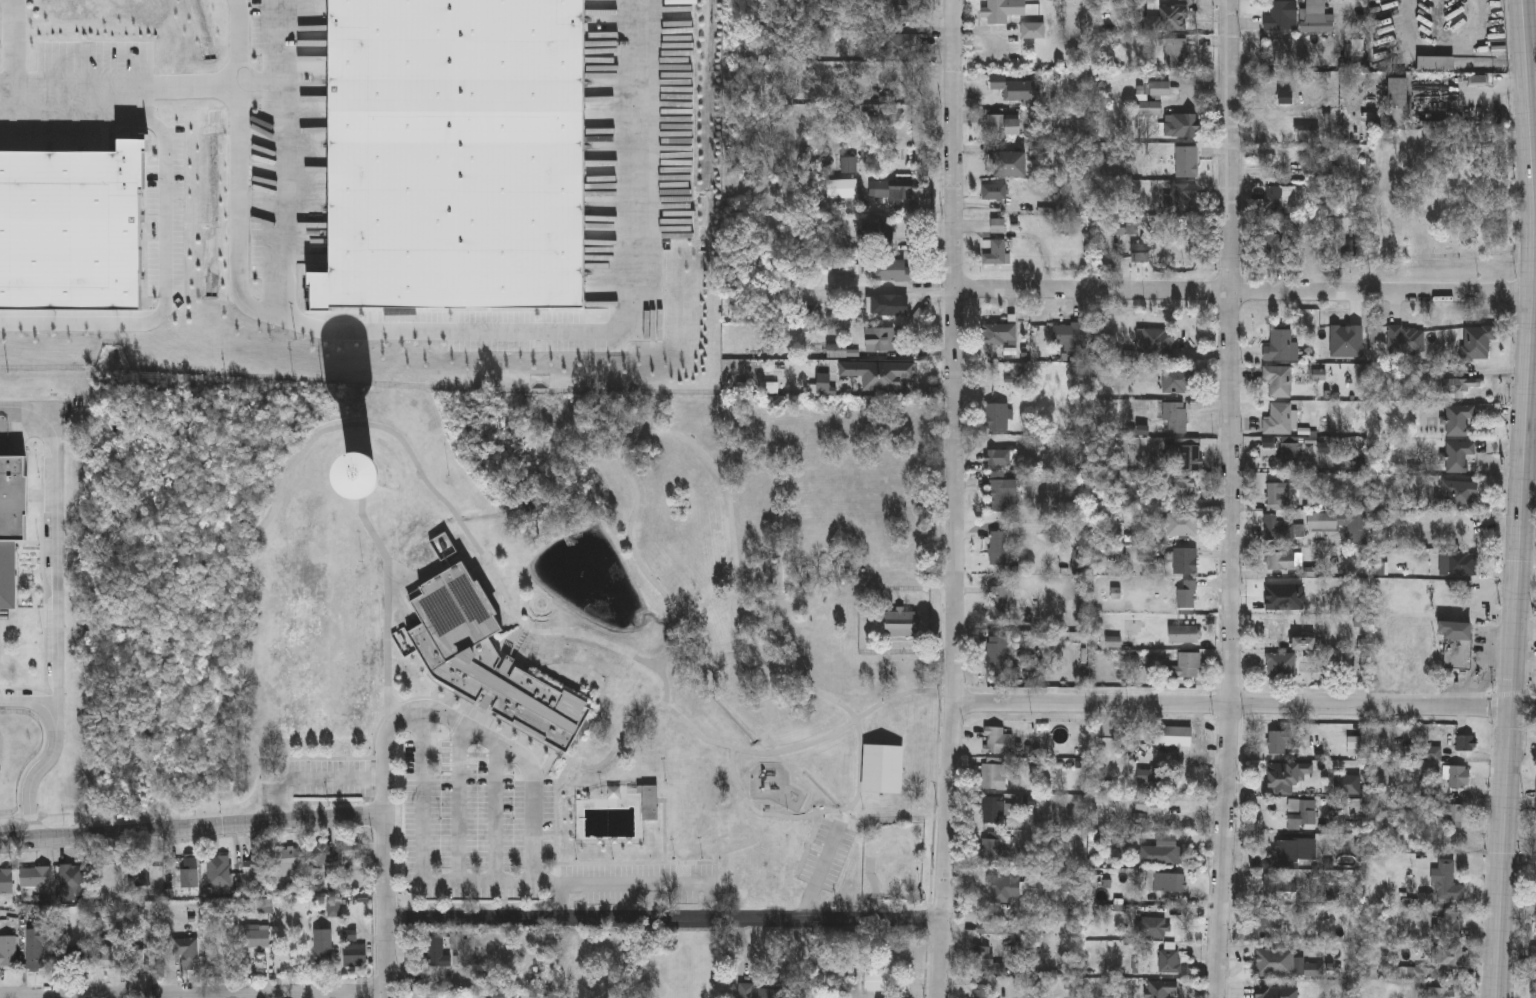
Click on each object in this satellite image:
building: (892, 10)
building: (1002, 11)
building: (1284, 16)
building: (1167, 18)
building: (1032, 31)
road: (278, 41)
road: (12, 46)
building: (900, 47)
building: (1276, 50)
building: (1175, 53)
building: (1439, 58)
road: (225, 85)
building: (1001, 90)
road: (1475, 95)
building: (1285, 97)
building: (1140, 99)
building: (1394, 103)
building: (1179, 126)
building: (1004, 127)
building: (1186, 162)
building: (1010, 164)
building: (1335, 164)
building: (993, 192)
building: (893, 194)
building: (1181, 200)
building: (1272, 200)
road: (165, 214)
building: (998, 226)
building: (1122, 227)
building: (1273, 250)
building: (1143, 251)
building: (1347, 251)
building: (996, 253)
building: (891, 271)
road: (1244, 292)
road: (276, 305)
building: (886, 306)
road: (614, 329)
building: (998, 335)
building: (1068, 335)
building: (877, 337)
building: (1155, 342)
building: (1279, 346)
building: (887, 376)
building: (1178, 381)
building: (1278, 381)
road: (1532, 382)
building: (1458, 385)
building: (997, 417)
building: (1177, 418)
building: (1277, 419)
building: (1457, 419)
building: (1292, 452)
building: (1457, 456)
building: (1000, 458)
building: (1187, 459)
water tower: (372, 476)
building: (377, 478)
building: (1182, 488)
building: (999, 491)
building: (1459, 494)
building: (1277, 496)
road: (954, 499)
road: (1230, 499)
road: (1521, 499)
building: (1181, 524)
building: (12, 525)
building: (1339, 525)
building: (1281, 528)
building: (998, 548)
building: (1183, 561)
building: (1283, 561)
building: (1461, 563)
road: (52, 574)
building: (1185, 595)
building: (998, 604)
building: (900, 624)
park: (531, 632)
building: (1183, 634)
building: (1303, 643)
building: (1456, 645)
building: (996, 652)
building: (490, 664)
building: (1187, 665)
building: (1280, 665)
road: (1245, 703)
building: (1172, 734)
building: (996, 739)
building: (1277, 740)
building: (1462, 740)
building: (882, 768)
building: (992, 773)
building: (1286, 773)
building: (1458, 775)
road: (38, 776)
building: (1151, 777)
road: (309, 778)
building: (1346, 783)
road: (532, 805)
building: (649, 805)
building: (1148, 805)
road: (460, 806)
building: (993, 809)
building: (1302, 809)
building: (1449, 813)
road: (494, 814)
road: (191, 828)
building: (995, 844)
building: (1158, 849)
building: (1292, 850)
building: (351, 851)
road: (421, 853)
building: (322, 854)
building: (289, 859)
building: (256, 864)
building: (219, 871)
building: (186, 876)
building: (36, 878)
building: (71, 878)
building: (1445, 880)
building: (6, 881)
building: (1164, 881)
building: (1003, 884)
building: (1278, 886)
road: (560, 901)
road: (384, 906)
building: (1266, 916)
road: (664, 919)
building: (1448, 924)
building: (1151, 926)
building: (989, 927)
building: (255, 937)
building: (457, 941)
building: (35, 947)
building: (323, 948)
building: (8, 951)
building: (186, 951)
building: (436, 952)
building: (1448, 953)
building: (354, 955)
building: (1534, 957)
building: (102, 960)
building: (984, 960)
building: (1168, 960)
building: (139, 961)
building: (1273, 961)
building: (1425, 971)
building: (878, 980)
building: (1160, 988)
building: (760, 991)
building: (983, 991)
building: (1534, 991)
building: (1440, 992)
road: (234, 997)

